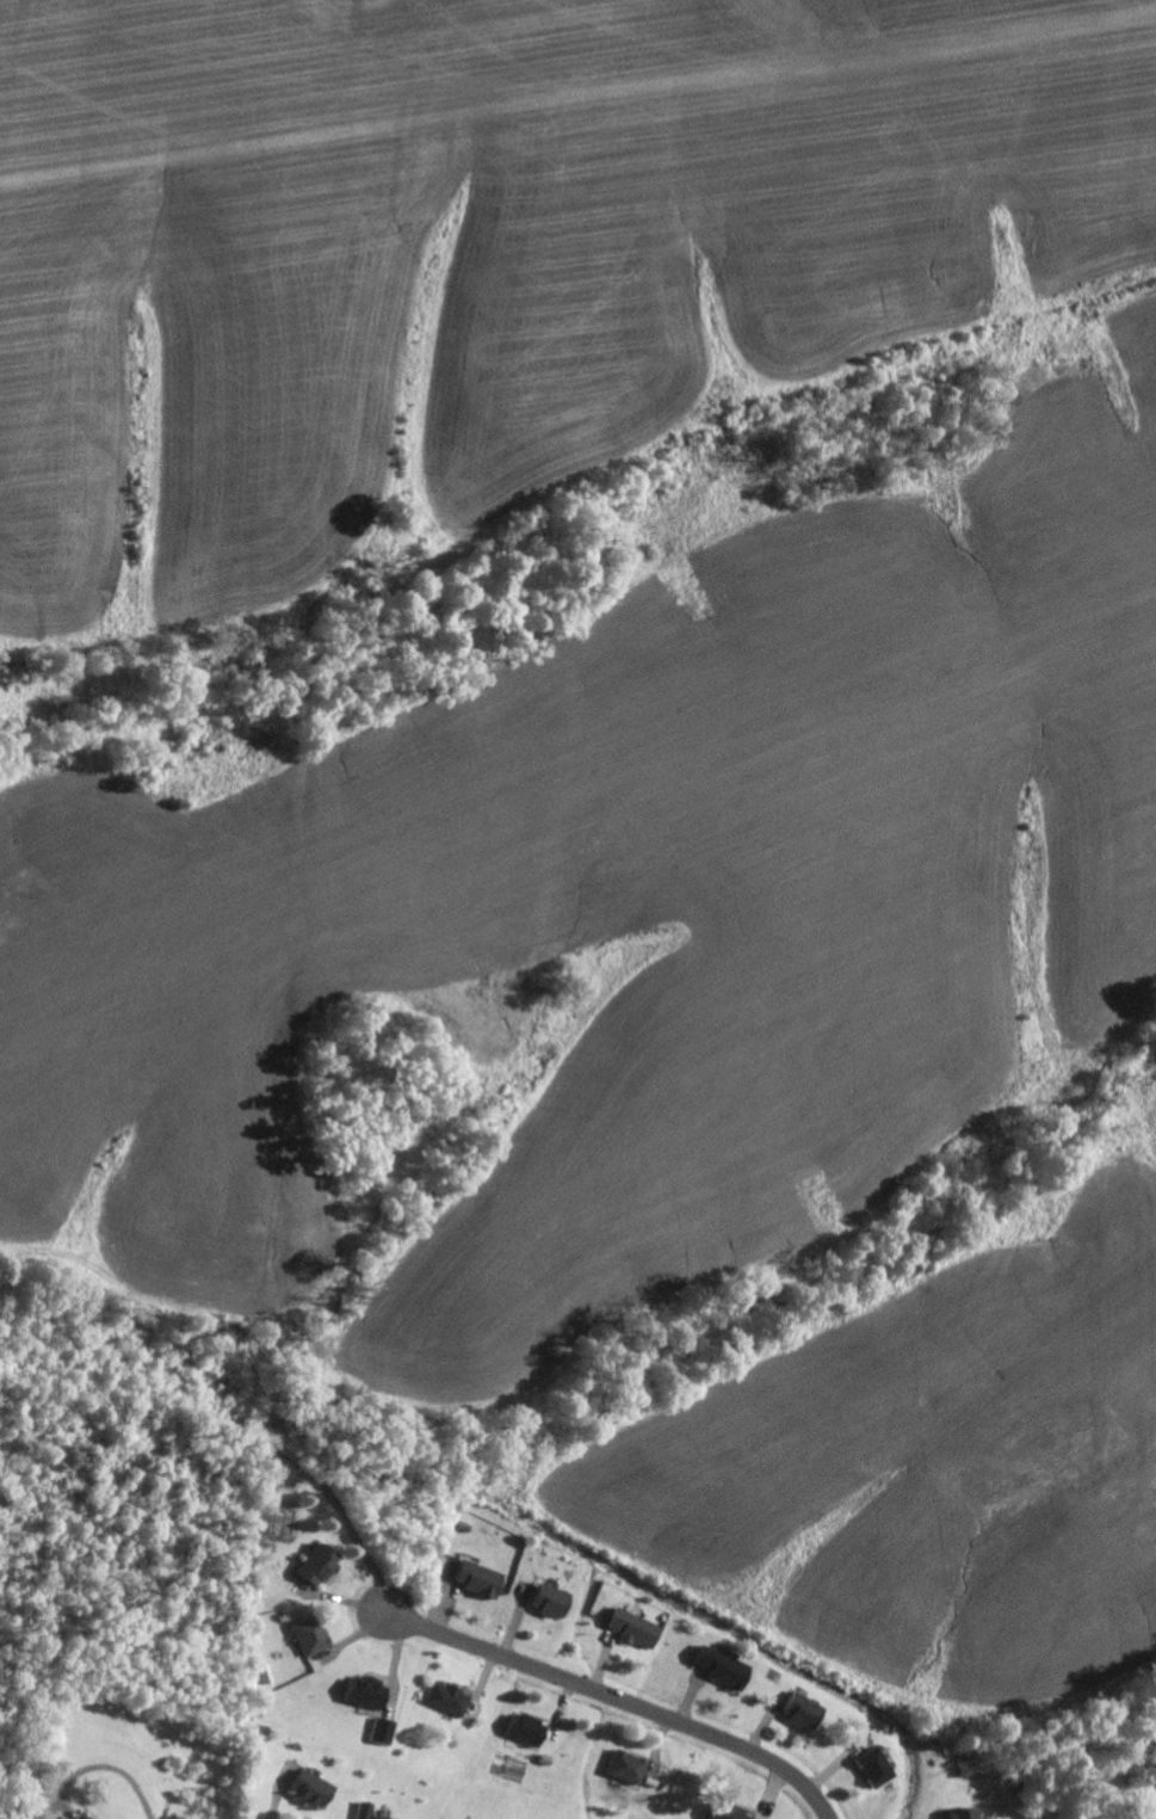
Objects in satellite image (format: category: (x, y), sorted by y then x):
building: (310, 1565)
building: (474, 1579)
building: (546, 1601)
building: (631, 1628)
building: (304, 1635)
building: (718, 1666)
building: (360, 1692)
road: (602, 1695)
building: (443, 1698)
building: (797, 1709)
building: (521, 1728)
building: (378, 1732)
building: (622, 1766)
building: (870, 1766)
road: (110, 1769)
building: (304, 1788)
building: (363, 1812)
building: (722, 1812)
building: (960, 1813)
building: (82, 1817)

